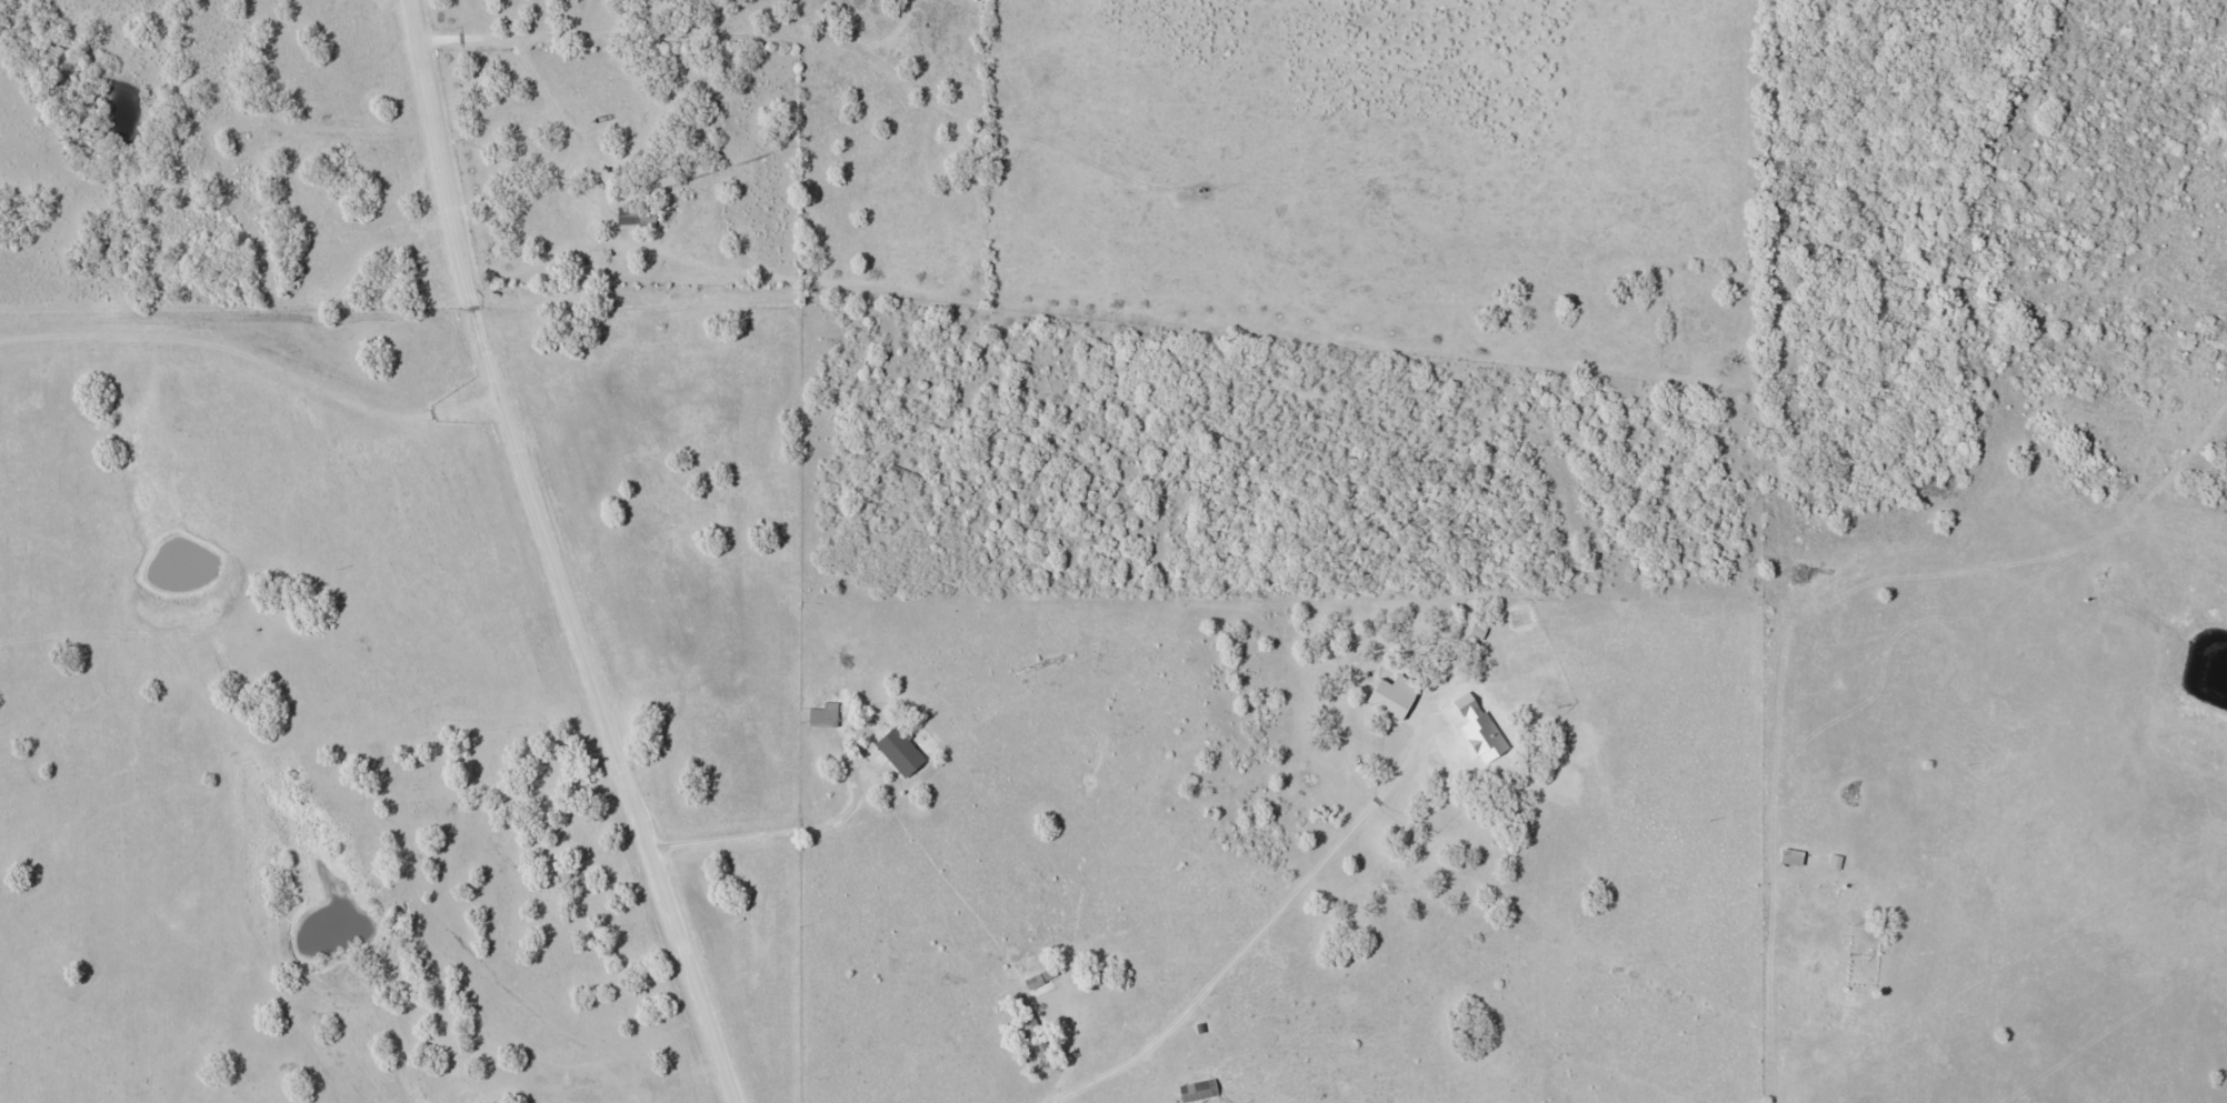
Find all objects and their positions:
road: (715, 29)
building: (628, 214)
road: (561, 556)
building: (1522, 648)
building: (1390, 690)
building: (825, 709)
building: (900, 745)
building: (1792, 851)
building: (1835, 856)
road: (1291, 890)
building: (1046, 975)
building: (1036, 1035)
building: (1200, 1090)

